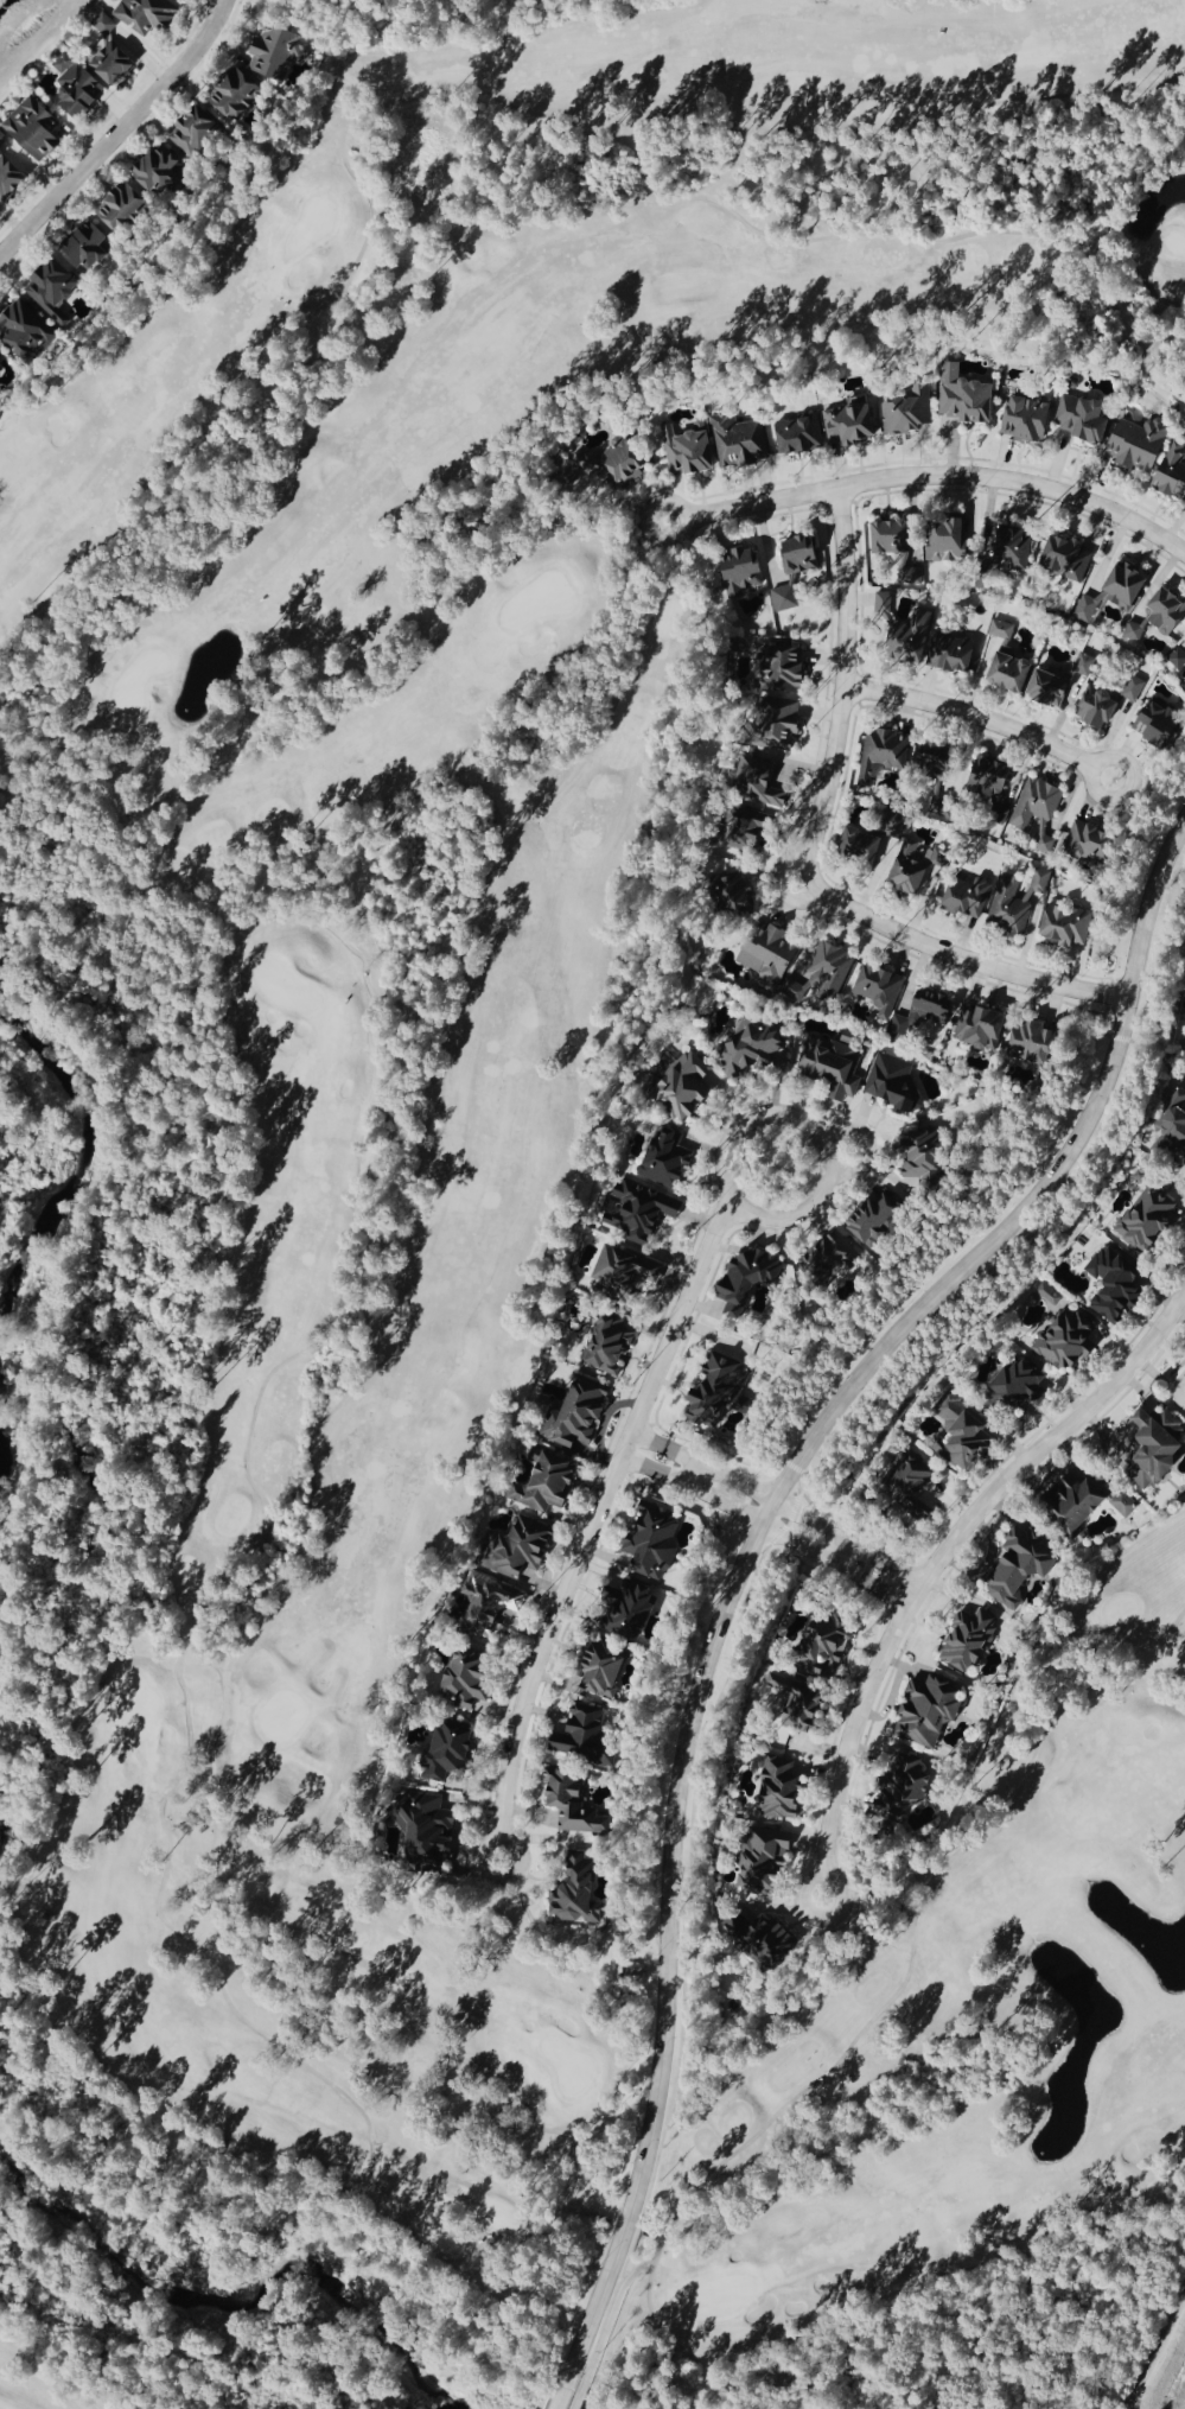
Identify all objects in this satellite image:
building: (146, 13)
building: (280, 51)
building: (110, 52)
building: (77, 84)
building: (235, 91)
road: (429, 93)
building: (193, 129)
road: (120, 133)
building: (2, 136)
building: (158, 167)
building: (9, 176)
building: (121, 206)
building: (88, 244)
building: (53, 285)
building: (26, 331)
building: (1, 369)
building: (966, 395)
building: (910, 411)
building: (1085, 417)
building: (1027, 418)
building: (852, 421)
building: (799, 433)
building: (739, 439)
building: (1140, 443)
building: (690, 449)
building: (611, 463)
building: (1173, 470)
road: (931, 476)
building: (948, 538)
building: (898, 547)
building: (1014, 547)
building: (1068, 557)
building: (796, 568)
building: (743, 571)
building: (1167, 610)
building: (1134, 630)
building: (1004, 633)
building: (909, 636)
building: (953, 651)
building: (1178, 657)
building: (784, 669)
building: (1012, 672)
building: (1059, 682)
building: (1108, 701)
road: (985, 720)
building: (781, 724)
building: (1161, 725)
building: (883, 756)
road: (36, 761)
building: (938, 762)
building: (989, 781)
building: (1037, 814)
building: (751, 831)
building: (1089, 845)
building: (862, 847)
road: (805, 862)
road: (192, 897)
building: (967, 898)
building: (1015, 902)
building: (1068, 927)
building: (770, 960)
building: (829, 972)
building: (879, 990)
building: (923, 1015)
building: (980, 1028)
road: (1103, 1035)
building: (1033, 1044)
building: (754, 1048)
building: (834, 1067)
building: (893, 1081)
park: (533, 1130)
road: (821, 1140)
building: (1172, 1140)
road: (868, 1146)
building: (664, 1157)
river: (56, 1201)
building: (1149, 1221)
building: (877, 1223)
building: (832, 1263)
building: (624, 1276)
building: (748, 1280)
building: (1116, 1283)
building: (1068, 1340)
building: (610, 1347)
building: (1019, 1388)
building: (721, 1393)
building: (581, 1415)
building: (967, 1438)
road: (649, 1443)
building: (1154, 1449)
road: (638, 1466)
road: (690, 1476)
road: (778, 1502)
building: (1077, 1502)
building: (1125, 1506)
road: (765, 1526)
road: (594, 1530)
building: (655, 1540)
road: (753, 1550)
road: (841, 1555)
road: (942, 1559)
building: (1019, 1568)
road: (904, 1577)
road: (752, 1588)
road: (890, 1598)
road: (209, 1603)
building: (491, 1607)
road: (1172, 1634)
building: (617, 1639)
building: (970, 1640)
building: (827, 1641)
building: (466, 1683)
building: (928, 1717)
building: (452, 1748)
building: (560, 1767)
river: (1, 1778)
building: (778, 1795)
building: (426, 1833)
building: (765, 1863)
building: (581, 1893)
road: (917, 1937)
road: (353, 1958)
road: (656, 2257)
road: (898, 2299)
river: (229, 2306)
road: (1159, 2362)
park: (58, 2370)
road: (714, 2388)
road: (561, 2396)
road: (579, 2400)

